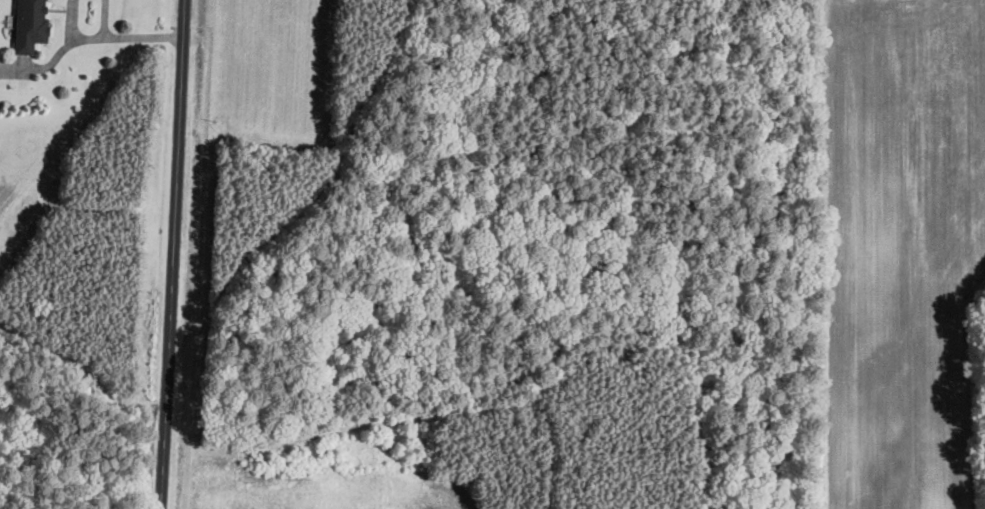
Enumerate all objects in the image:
road: (104, 19)
building: (29, 24)
road: (71, 34)
road: (143, 37)
road: (172, 254)

